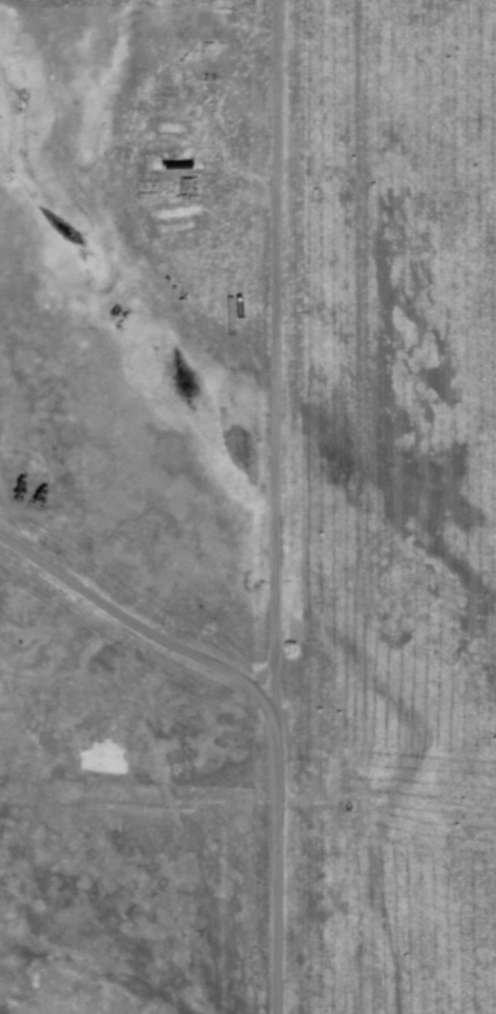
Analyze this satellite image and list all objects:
road: (143, 154)
road: (279, 507)

